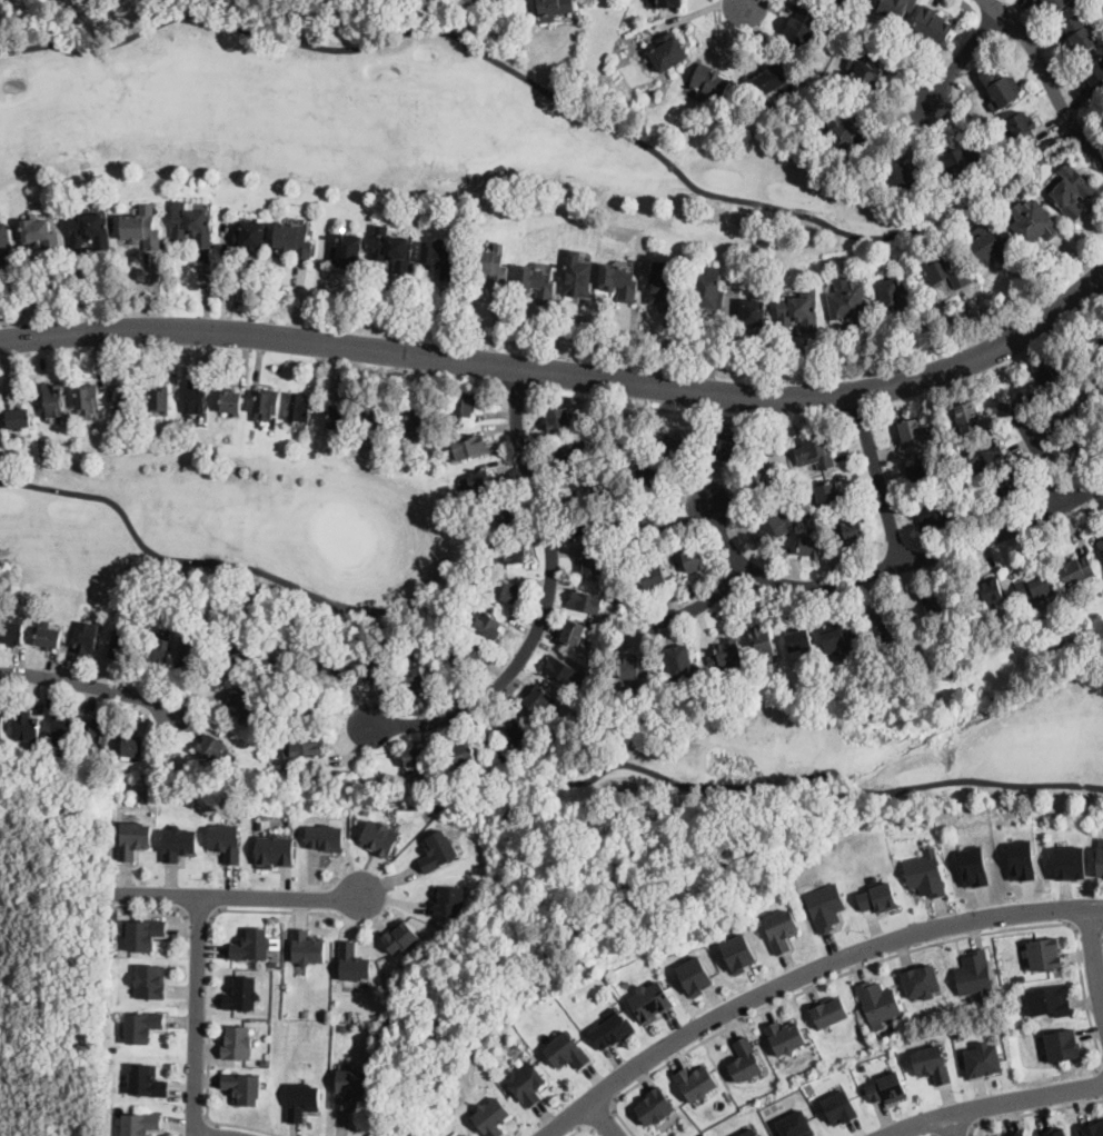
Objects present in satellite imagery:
building: (838, 0)
building: (852, 0)
building: (855, 0)
building: (1037, 0)
building: (668, 2)
road: (748, 2)
road: (995, 4)
building: (1054, 4)
building: (551, 8)
building: (896, 8)
building: (932, 24)
building: (799, 28)
building: (1081, 33)
building: (667, 52)
road: (966, 58)
building: (866, 68)
building: (769, 77)
building: (1093, 77)
building: (708, 82)
road: (1052, 84)
building: (1000, 88)
road: (567, 98)
park: (405, 128)
building: (1022, 129)
building: (847, 130)
park: (1089, 139)
building: (962, 160)
building: (900, 176)
building: (1071, 191)
building: (1033, 221)
building: (192, 226)
building: (140, 230)
building: (90, 231)
building: (41, 235)
building: (249, 235)
building: (294, 240)
building: (4, 245)
building: (987, 247)
building: (346, 250)
building: (390, 250)
building: (440, 259)
building: (489, 263)
building: (945, 272)
building: (576, 276)
building: (535, 281)
building: (618, 281)
building: (663, 285)
building: (708, 289)
building: (893, 295)
building: (848, 303)
building: (752, 311)
building: (797, 312)
building: (1093, 346)
road: (563, 373)
building: (1047, 373)
building: (197, 396)
building: (158, 398)
building: (87, 399)
building: (54, 400)
building: (122, 400)
building: (230, 402)
building: (265, 403)
building: (465, 403)
building: (299, 408)
building: (662, 411)
building: (1064, 411)
building: (966, 416)
building: (19, 417)
building: (337, 417)
building: (558, 419)
building: (374, 421)
building: (298, 423)
building: (410, 423)
building: (911, 432)
building: (723, 445)
building: (467, 447)
building: (674, 447)
building: (1087, 449)
building: (817, 450)
building: (572, 451)
road: (1042, 454)
building: (996, 455)
building: (639, 472)
building: (921, 475)
road: (878, 479)
building: (758, 481)
building: (477, 482)
building: (580, 486)
building: (1003, 489)
building: (827, 494)
building: (503, 512)
building: (932, 514)
building: (654, 521)
building: (589, 522)
building: (771, 524)
park: (212, 528)
building: (848, 531)
building: (811, 545)
building: (1100, 546)
building: (504, 552)
building: (693, 559)
building: (594, 561)
road: (892, 568)
building: (1076, 571)
building: (653, 578)
building: (1035, 587)
building: (505, 590)
building: (985, 590)
road: (549, 600)
building: (585, 601)
road: (707, 605)
building: (943, 609)
building: (486, 622)
building: (882, 625)
building: (576, 631)
building: (13, 632)
building: (49, 635)
building: (838, 637)
building: (88, 638)
building: (762, 639)
building: (798, 641)
building: (119, 646)
building: (192, 652)
building: (157, 654)
building: (464, 654)
building: (724, 654)
building: (235, 660)
building: (679, 661)
building: (372, 666)
building: (327, 667)
building: (634, 667)
building: (560, 669)
building: (413, 676)
road: (89, 685)
building: (537, 698)
building: (240, 702)
building: (305, 709)
building: (1, 727)
building: (514, 727)
building: (28, 728)
building: (63, 728)
building: (106, 729)
park: (852, 741)
building: (132, 745)
building: (306, 745)
building: (209, 746)
building: (464, 753)
building: (416, 756)
road: (501, 758)
building: (188, 781)
building: (259, 825)
building: (326, 836)
building: (380, 837)
building: (226, 841)
building: (135, 844)
building: (179, 844)
building: (276, 849)
building: (439, 849)
building: (1100, 857)
building: (1021, 858)
building: (1070, 861)
building: (973, 864)
building: (925, 871)
building: (878, 896)
road: (240, 897)
building: (409, 897)
building: (448, 900)
building: (826, 905)
road: (168, 908)
building: (115, 914)
road: (201, 917)
building: (782, 928)
road: (1089, 930)
building: (145, 934)
building: (400, 935)
building: (251, 945)
building: (308, 946)
building: (738, 951)
building: (1045, 953)
road: (1095, 954)
road: (881, 960)
building: (352, 961)
building: (274, 963)
building: (973, 971)
building: (696, 974)
road: (805, 974)
road: (211, 978)
building: (921, 979)
building: (150, 980)
building: (242, 993)
building: (650, 999)
building: (1047, 999)
building: (878, 1002)
building: (828, 1009)
building: (305, 1013)
road: (198, 1016)
building: (377, 1016)
building: (141, 1023)
building: (342, 1026)
building: (612, 1027)
building: (961, 1034)
building: (786, 1036)
building: (237, 1042)
building: (1062, 1044)
building: (566, 1049)
building: (746, 1059)
building: (983, 1059)
building: (265, 1060)
building: (933, 1063)
building: (863, 1066)
road: (1100, 1077)
building: (147, 1079)
building: (525, 1082)
building: (696, 1082)
building: (242, 1085)
building: (349, 1086)
building: (887, 1087)
building: (302, 1099)
building: (654, 1105)
building: (839, 1106)
road: (998, 1106)
road: (1032, 1113)
building: (491, 1116)
road: (603, 1116)
road: (603, 1118)
building: (140, 1124)
building: (796, 1125)
road: (954, 1127)
building: (1093, 1128)
road: (583, 1129)
building: (1051, 1130)
building: (748, 1133)
building: (1017, 1133)
building: (463, 1135)
road: (968, 1135)
building: (1004, 1135)

